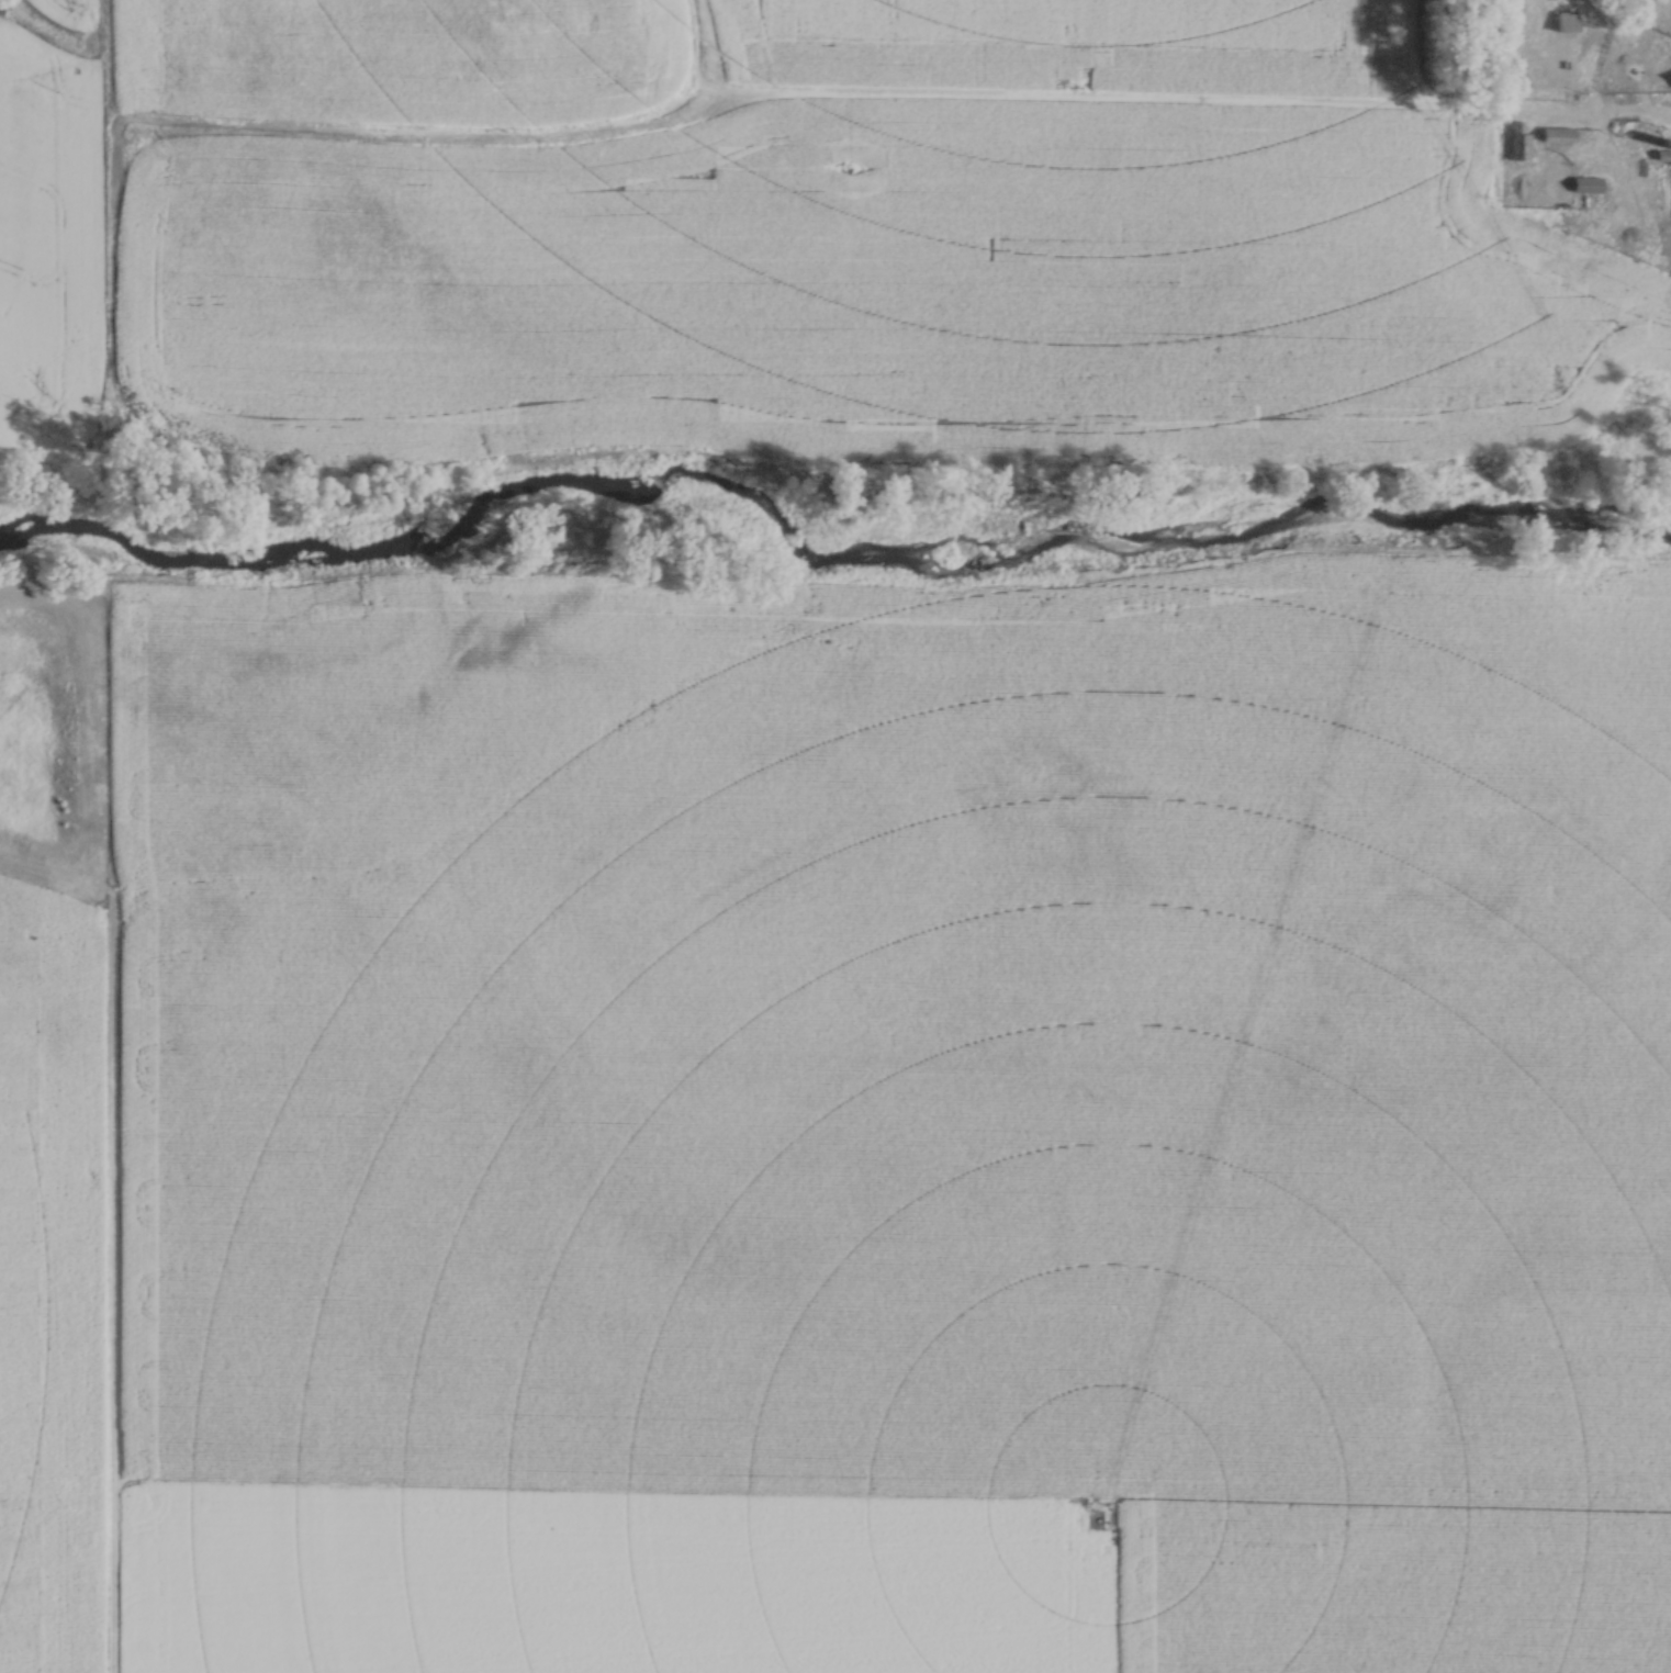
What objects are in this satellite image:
building: (1568, 22)
road: (1617, 115)
building: (1518, 146)
building: (1586, 184)
building: (1668, 535)

